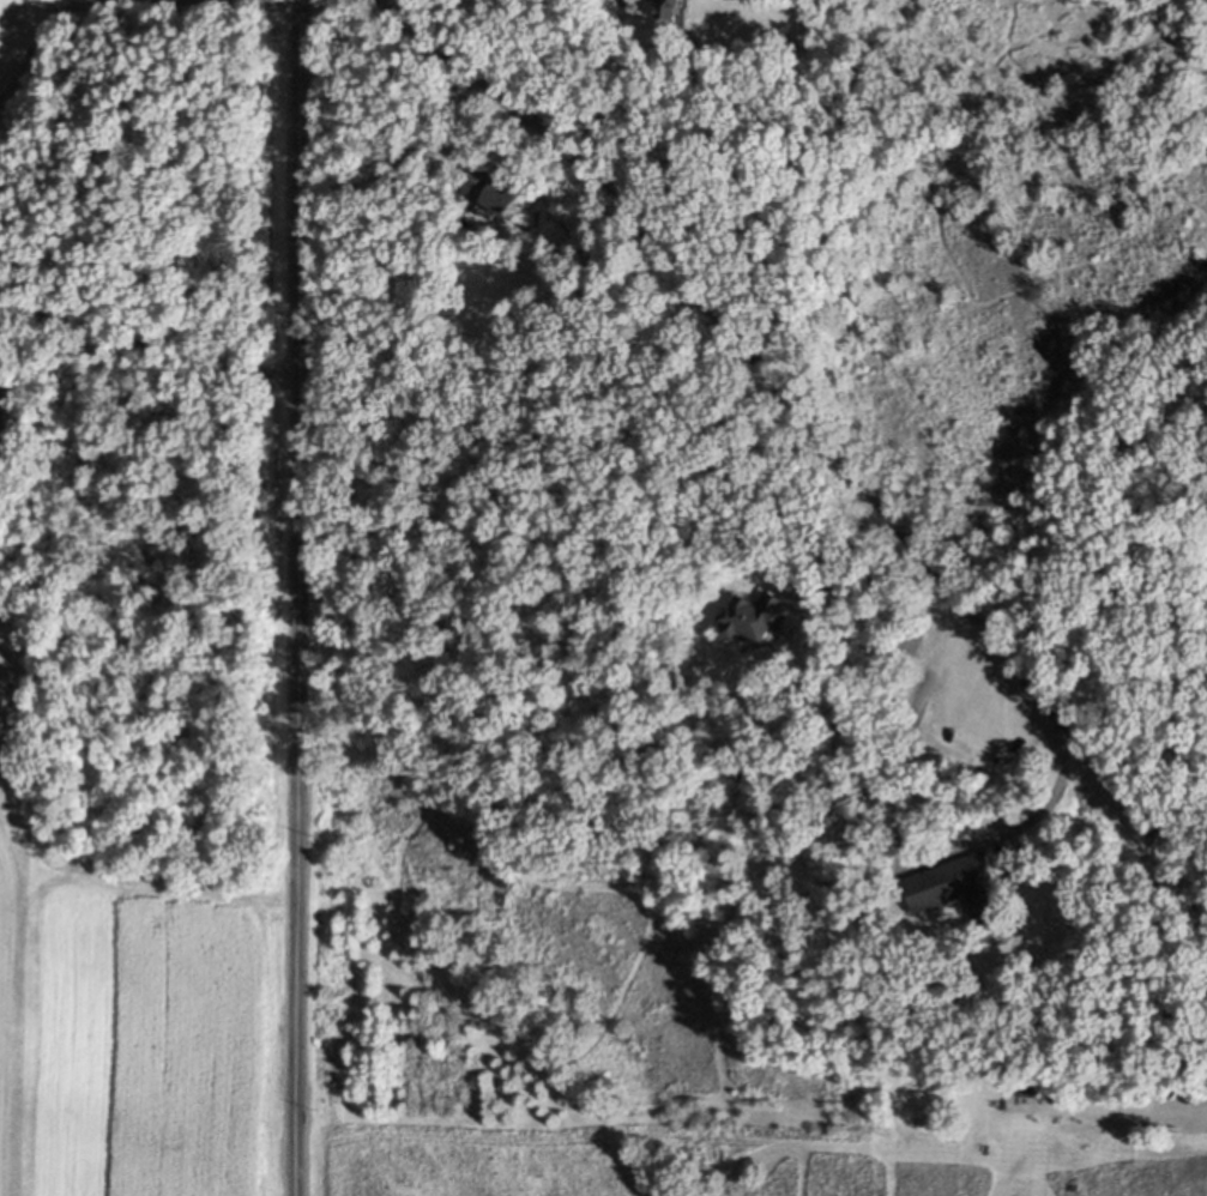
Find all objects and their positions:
building: (669, 7)
road: (630, 103)
building: (495, 191)
road: (146, 343)
road: (781, 392)
building: (5, 443)
road: (297, 597)
building: (756, 615)
building: (912, 639)
road: (901, 829)
road: (1175, 834)
building: (960, 887)
building: (1055, 1088)

